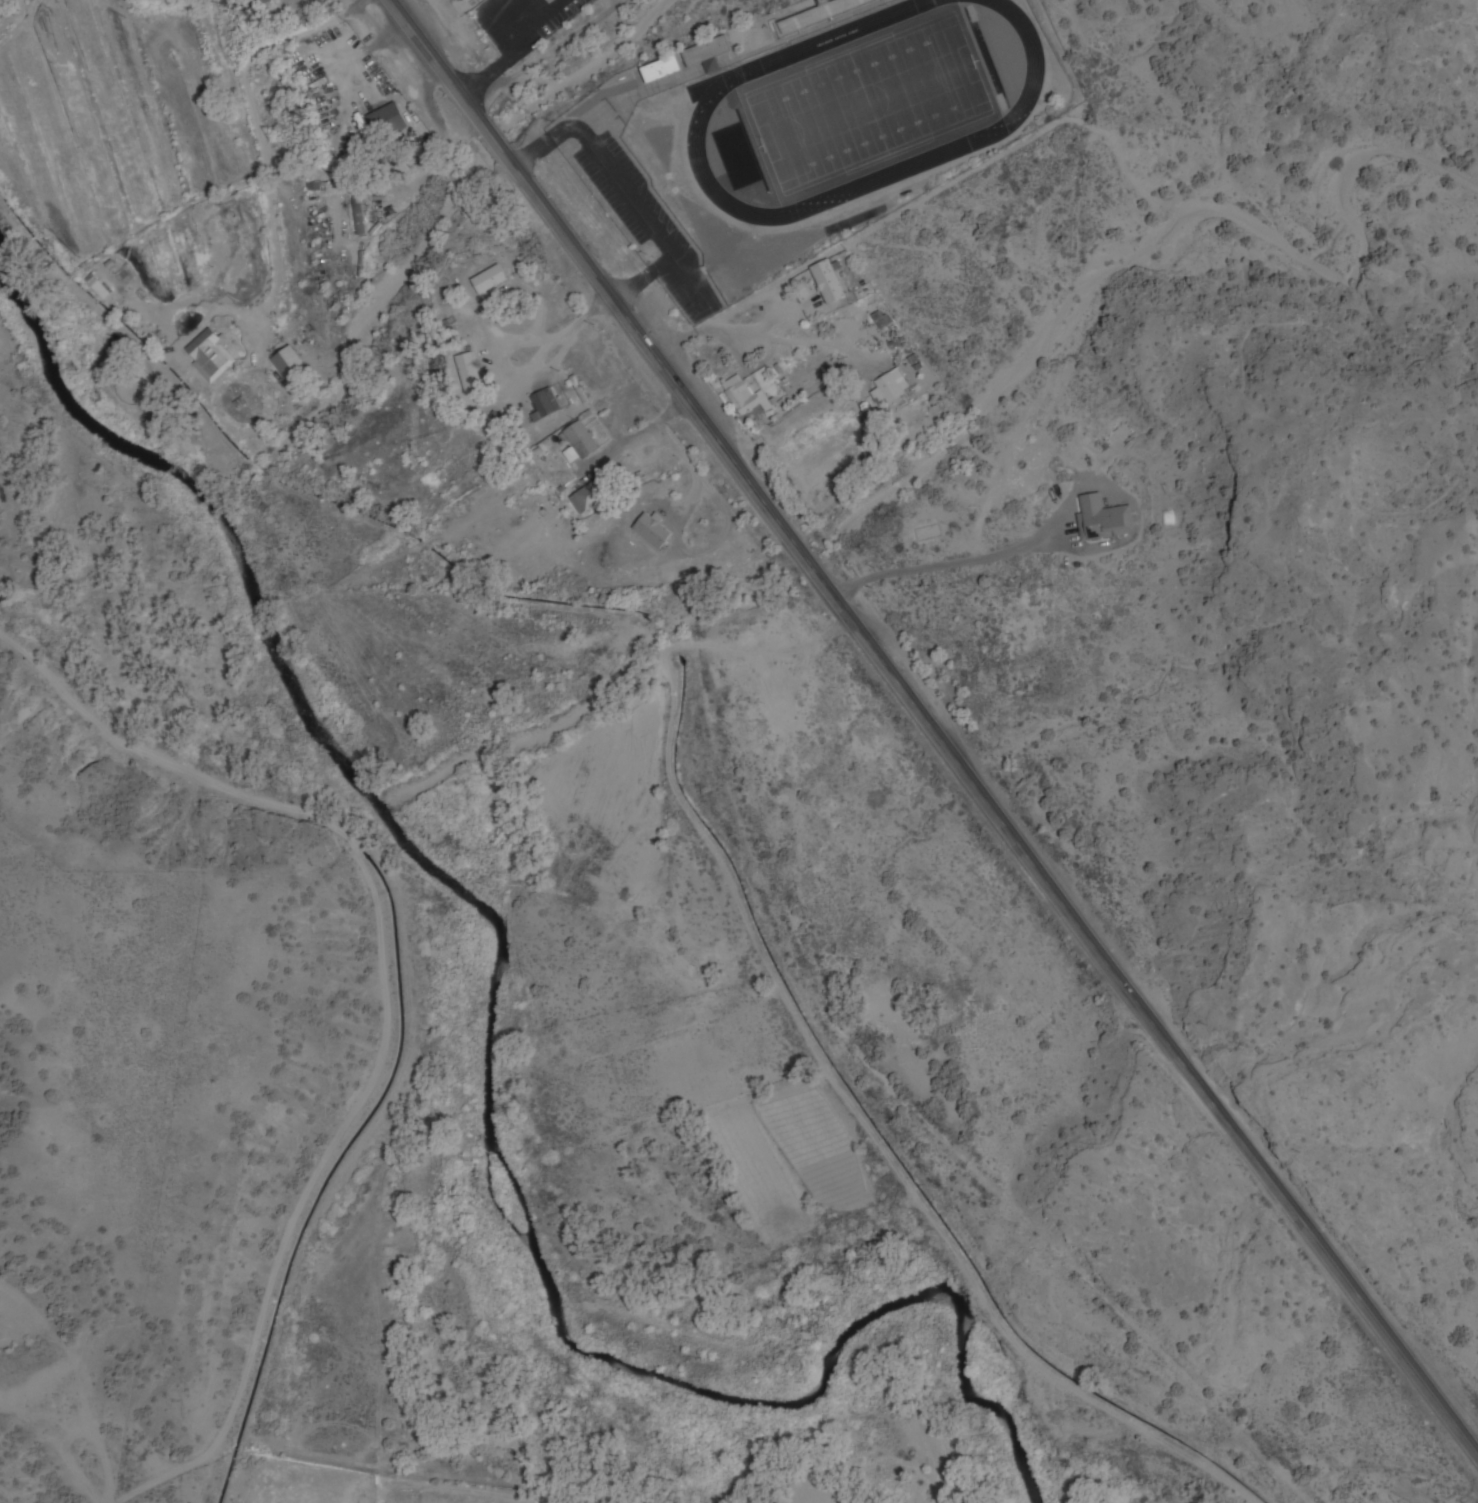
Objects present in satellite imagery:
building: (259, 3)
building: (820, 14)
building: (706, 54)
road: (583, 70)
park: (861, 105)
track: (864, 110)
building: (388, 122)
building: (359, 212)
road: (578, 255)
building: (490, 281)
building: (880, 320)
building: (211, 355)
building: (290, 364)
building: (892, 387)
building: (746, 397)
building: (546, 403)
building: (582, 442)
building: (643, 442)
building: (592, 498)
building: (1102, 520)
road: (1121, 983)
road: (380, 1006)

